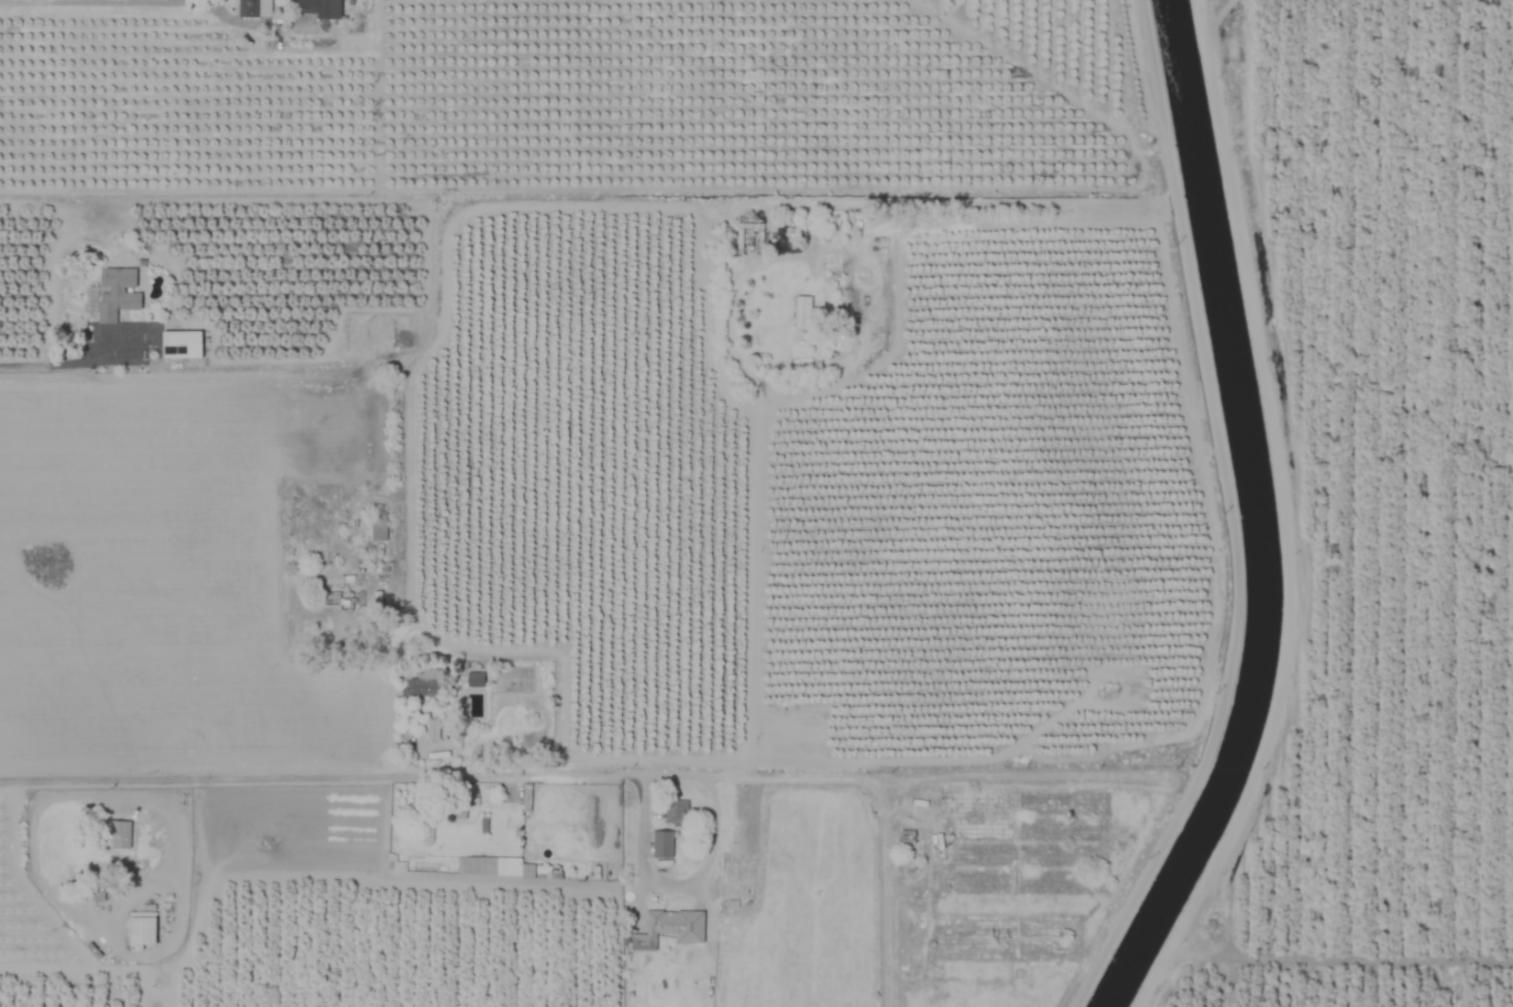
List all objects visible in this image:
road: (153, 1)
building: (252, 8)
building: (318, 8)
building: (118, 293)
building: (803, 312)
building: (182, 344)
road: (60, 365)
building: (379, 526)
building: (476, 680)
building: (424, 685)
building: (433, 730)
road: (645, 774)
building: (526, 798)
building: (676, 811)
building: (396, 821)
building: (122, 834)
building: (563, 834)
building: (661, 844)
building: (166, 883)
road: (672, 885)
road: (100, 918)
building: (143, 930)
building: (661, 930)

